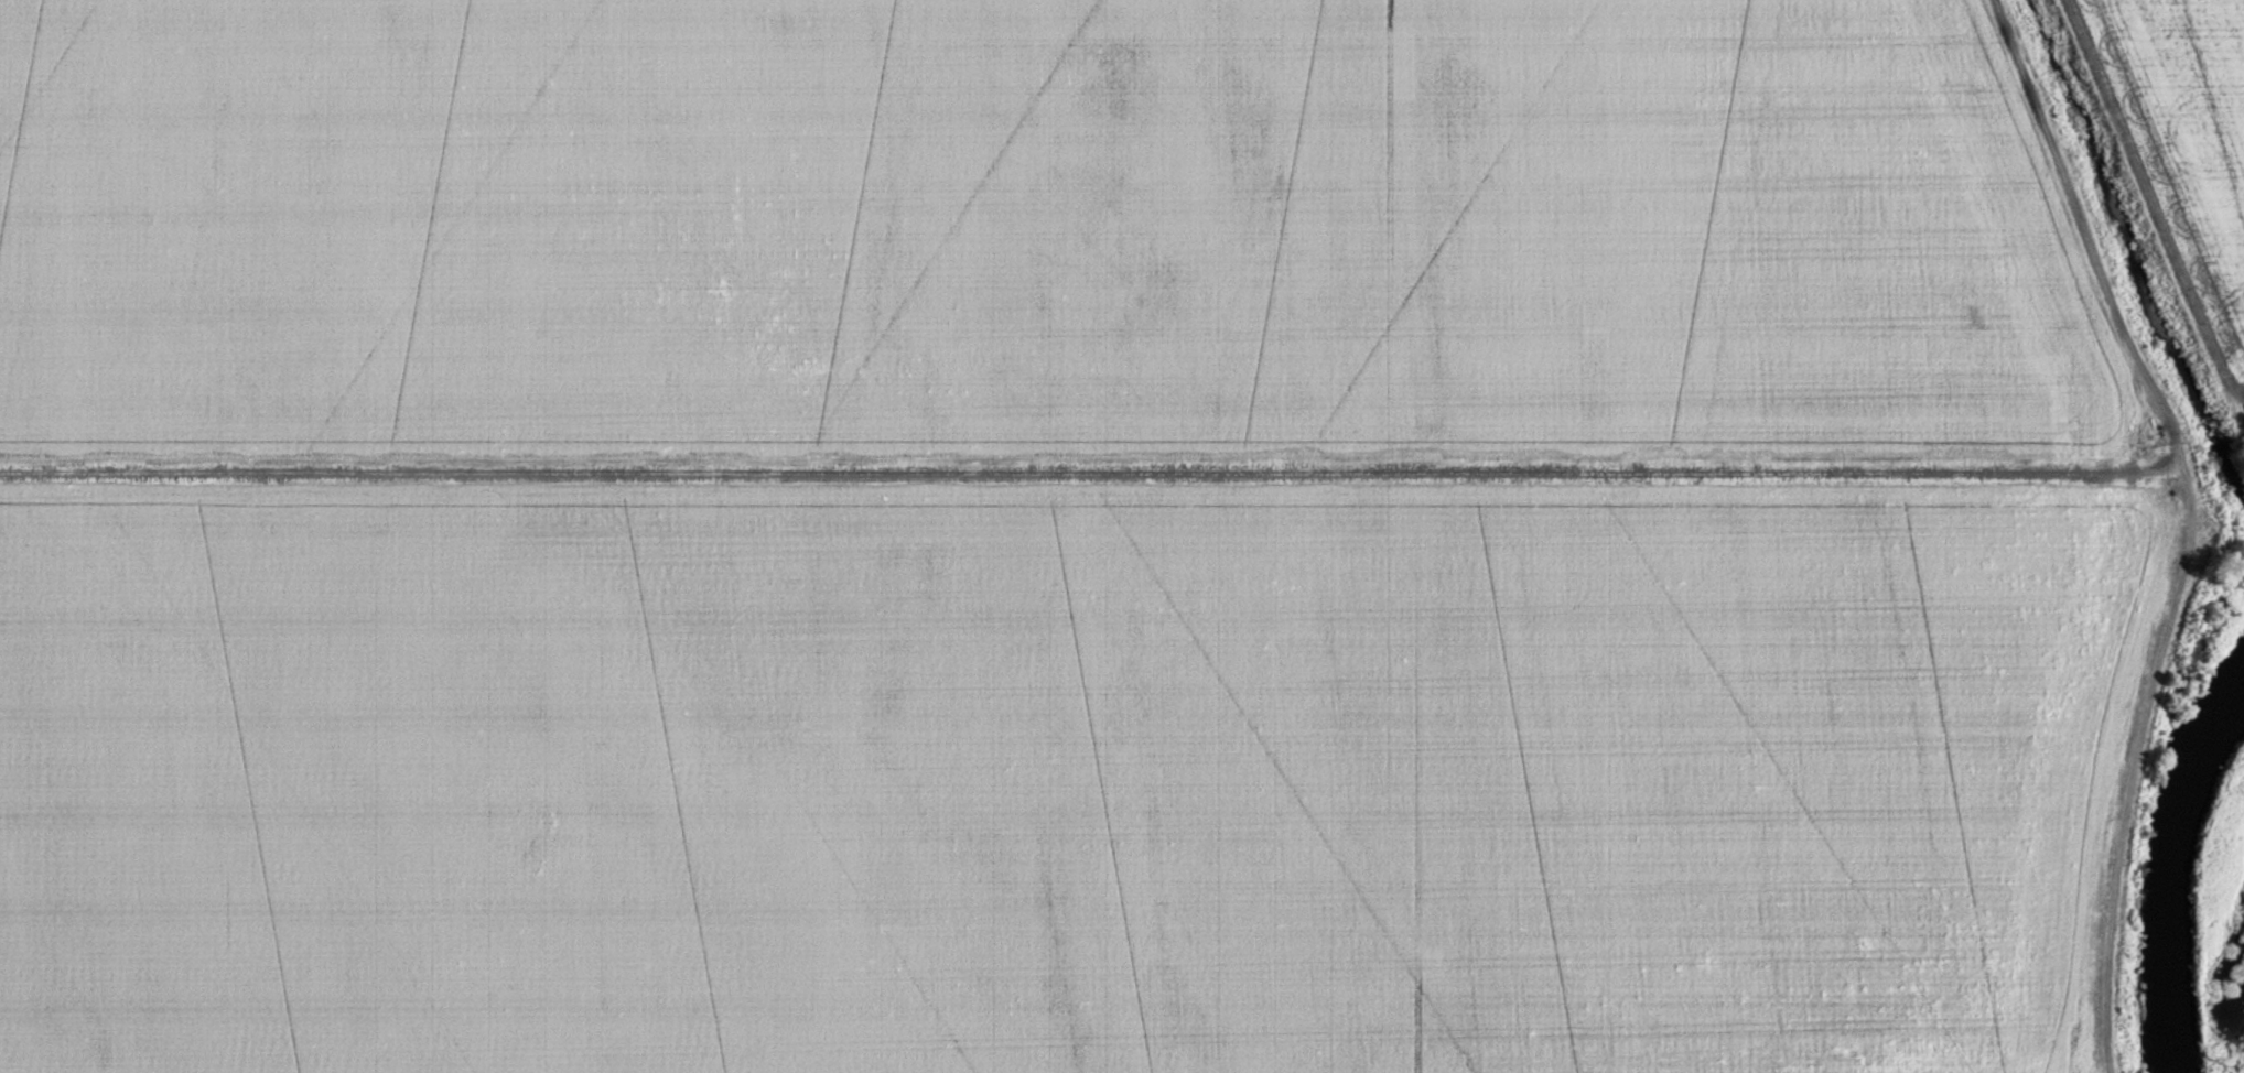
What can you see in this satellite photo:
road: (2090, 235)
river: (2172, 861)

